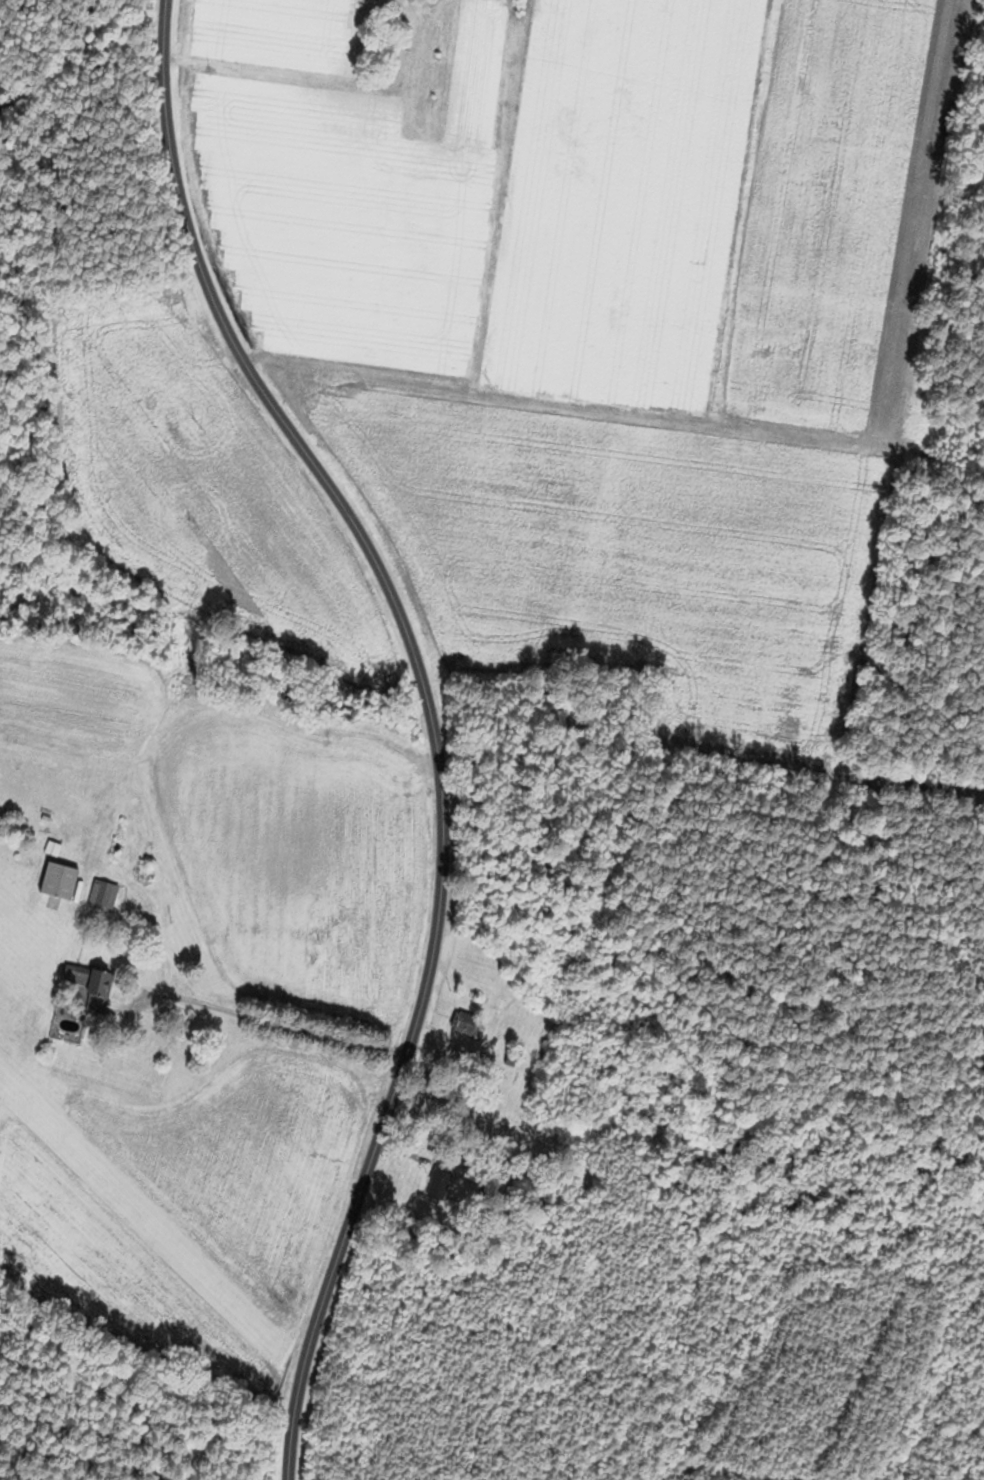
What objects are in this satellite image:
road: (415, 661)
building: (60, 881)
building: (102, 896)
building: (76, 1002)
road: (265, 1019)
building: (463, 1023)
building: (439, 1181)
airport runway: (131, 1221)
road: (292, 1421)

